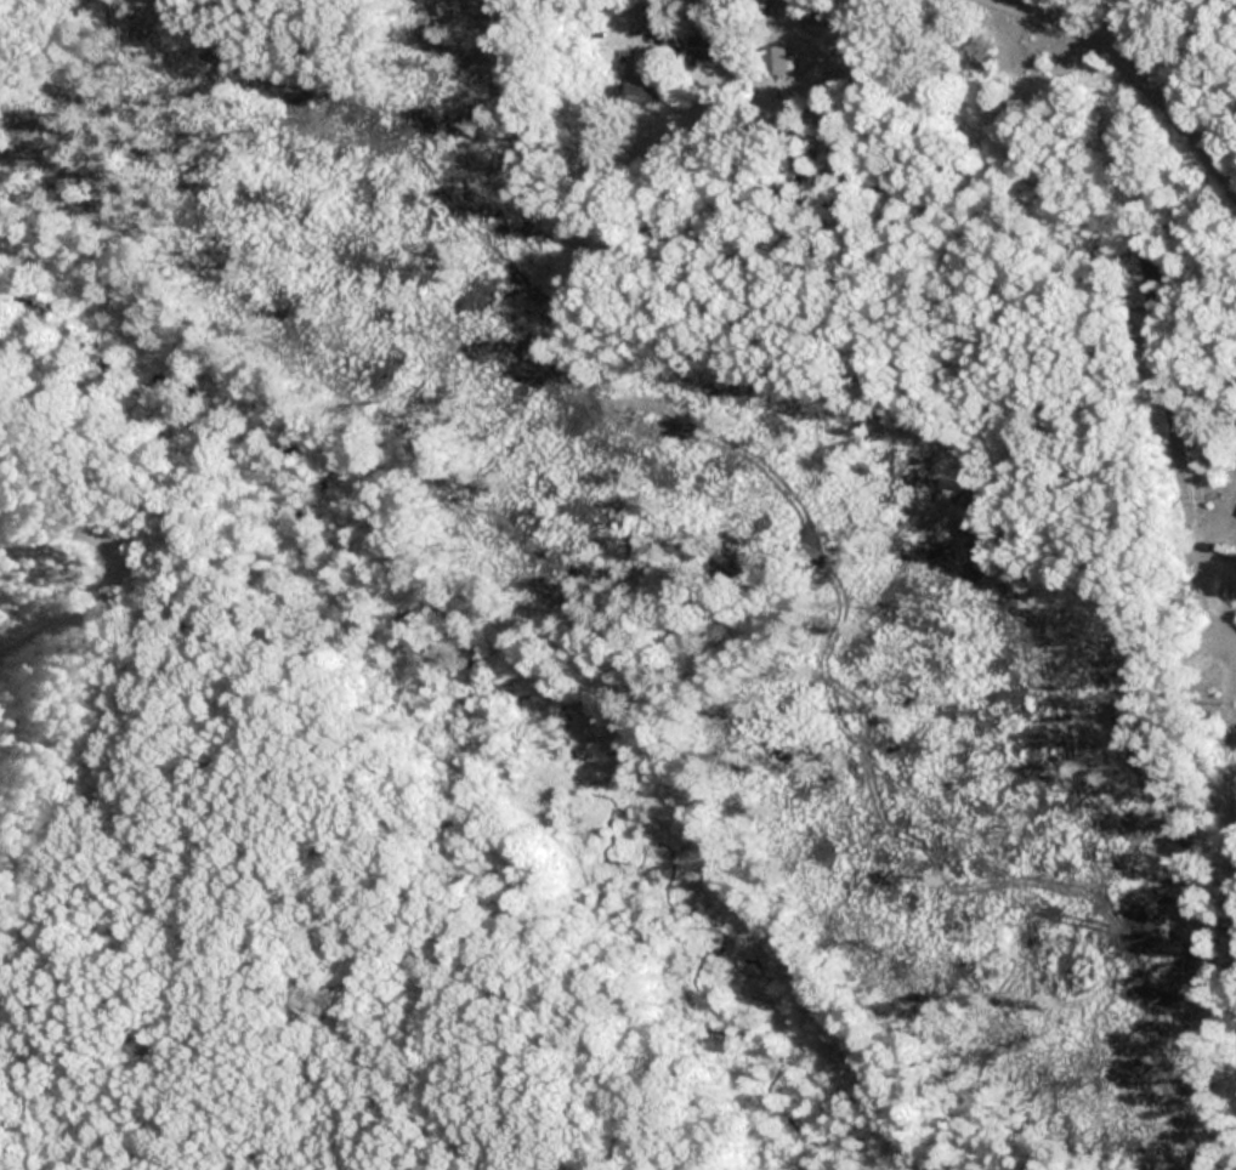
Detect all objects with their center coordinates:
road: (657, 19)
building: (705, 47)
building: (773, 59)
building: (977, 62)
road: (1129, 62)
building: (641, 75)
park: (585, 646)

